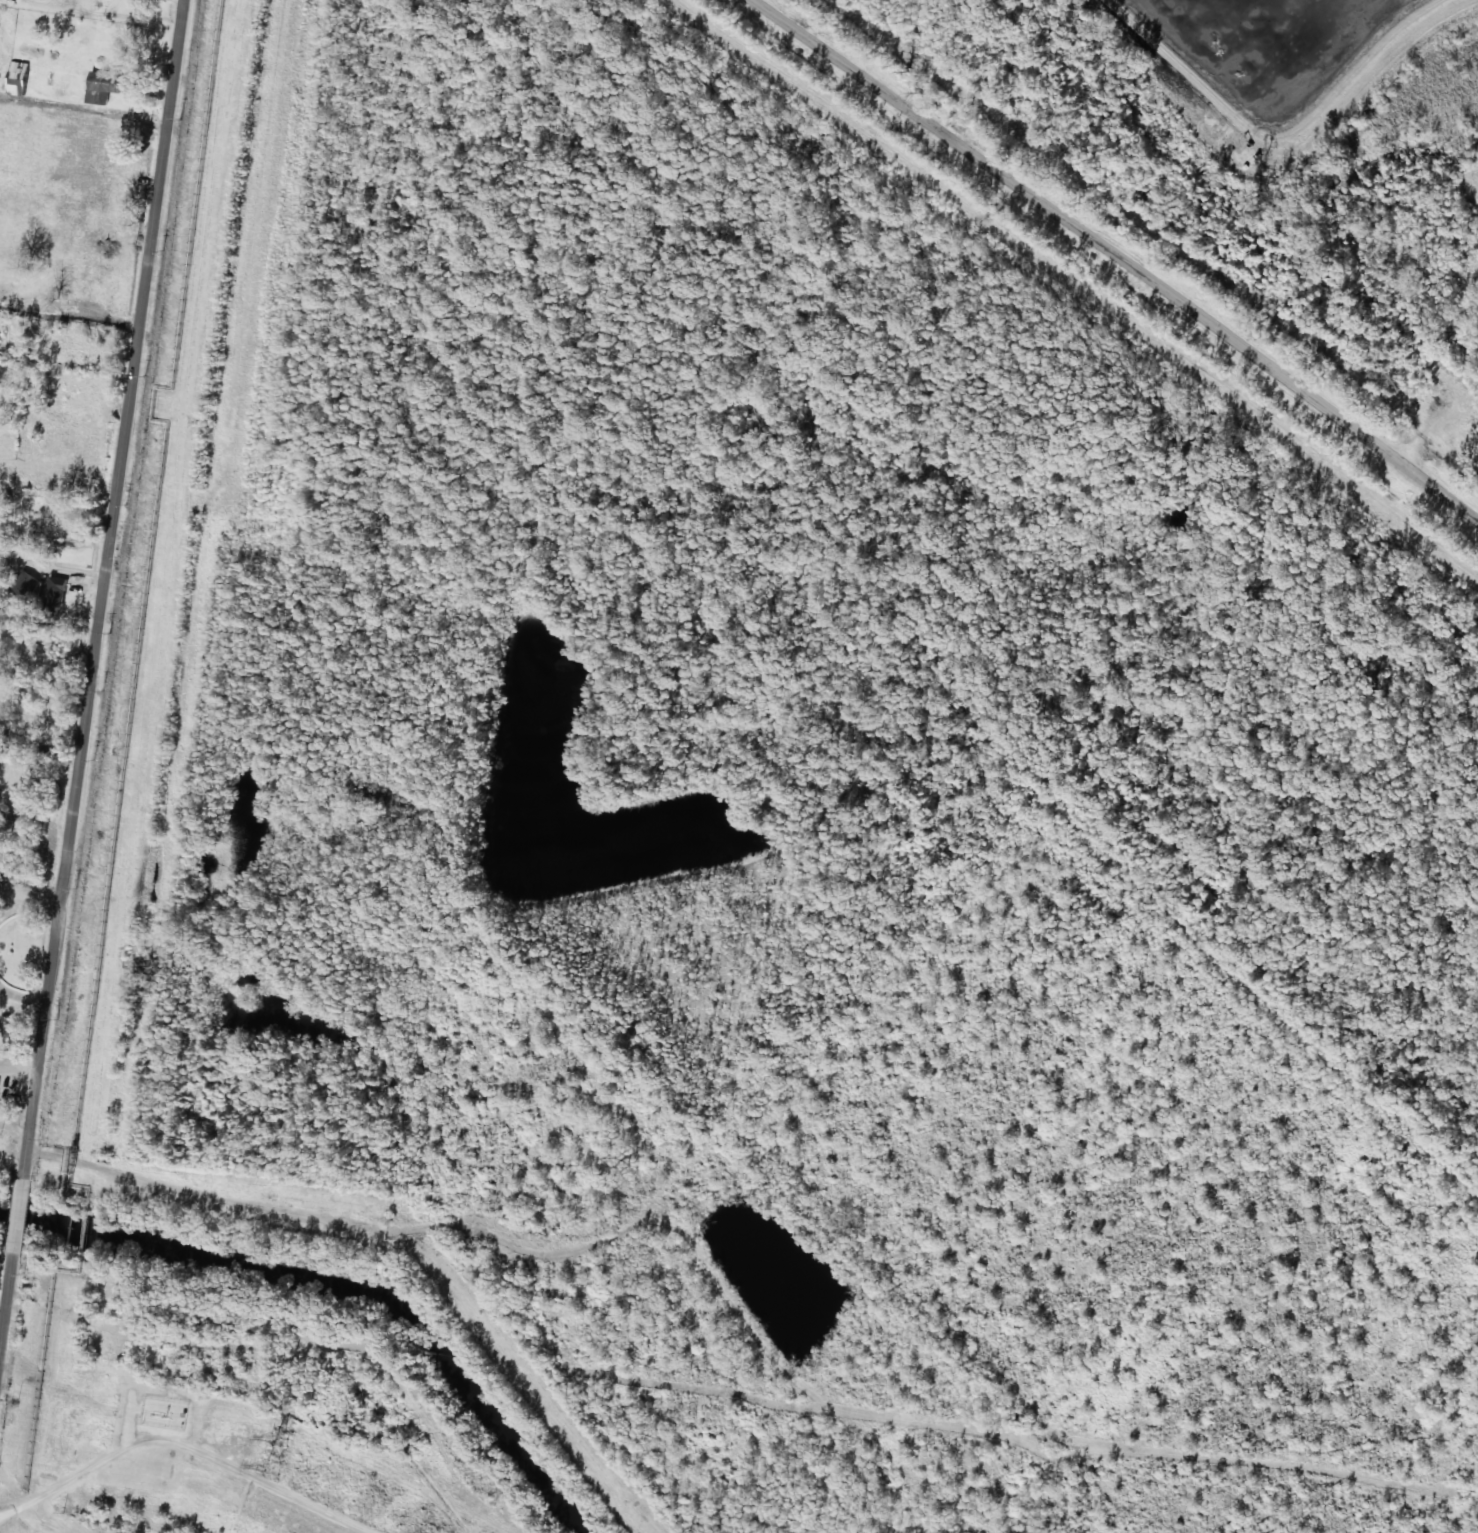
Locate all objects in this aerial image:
building: (18, 78)
building: (105, 86)
building: (107, 135)
road: (1118, 259)
building: (24, 584)
building: (56, 593)
road: (93, 690)
road: (347, 1222)
road: (195, 1437)
power tower: (273, 1466)

